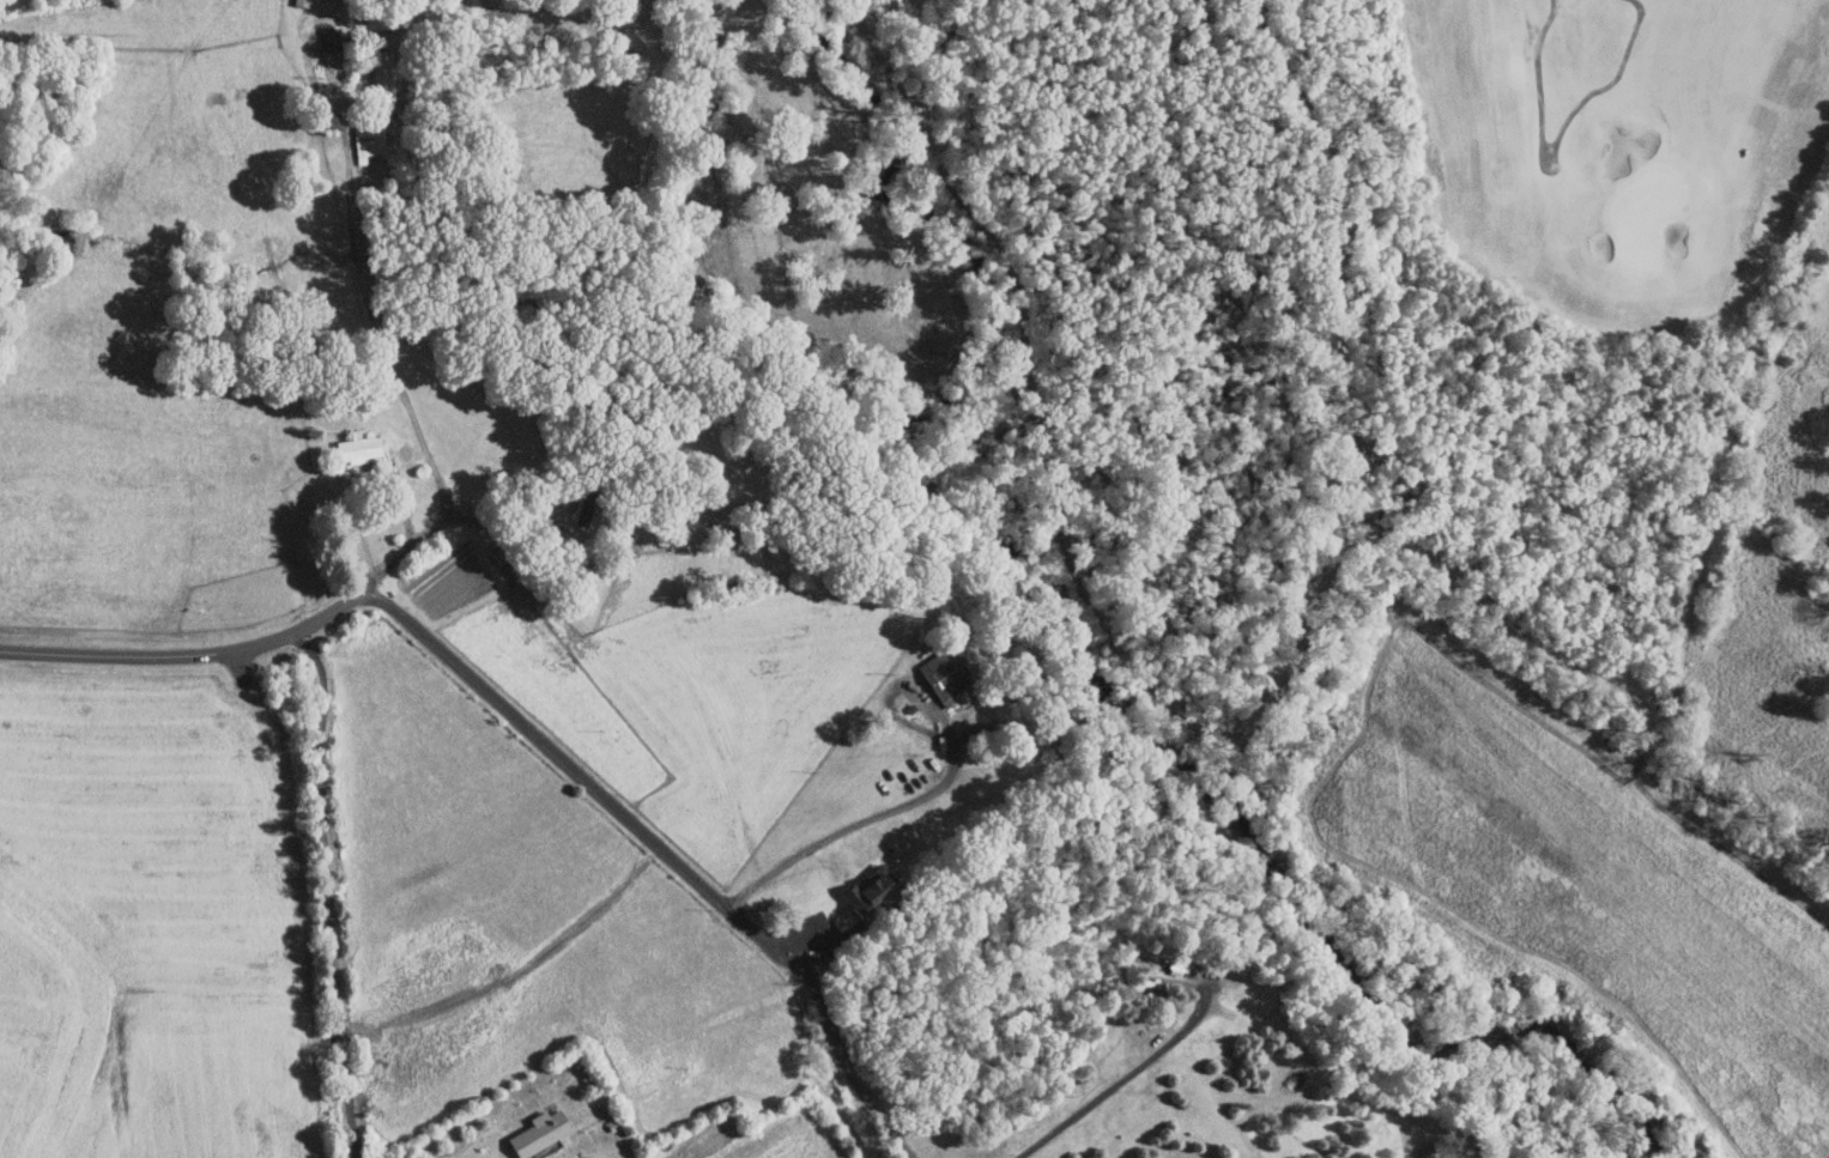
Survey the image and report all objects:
building: (301, 2)
building: (327, 38)
building: (367, 139)
park: (1482, 323)
road: (398, 372)
building: (357, 447)
road: (504, 522)
road: (145, 655)
building: (940, 673)
road: (635, 821)
road: (859, 823)
road: (327, 890)
building: (860, 891)
road: (1125, 1077)
building: (533, 1133)

